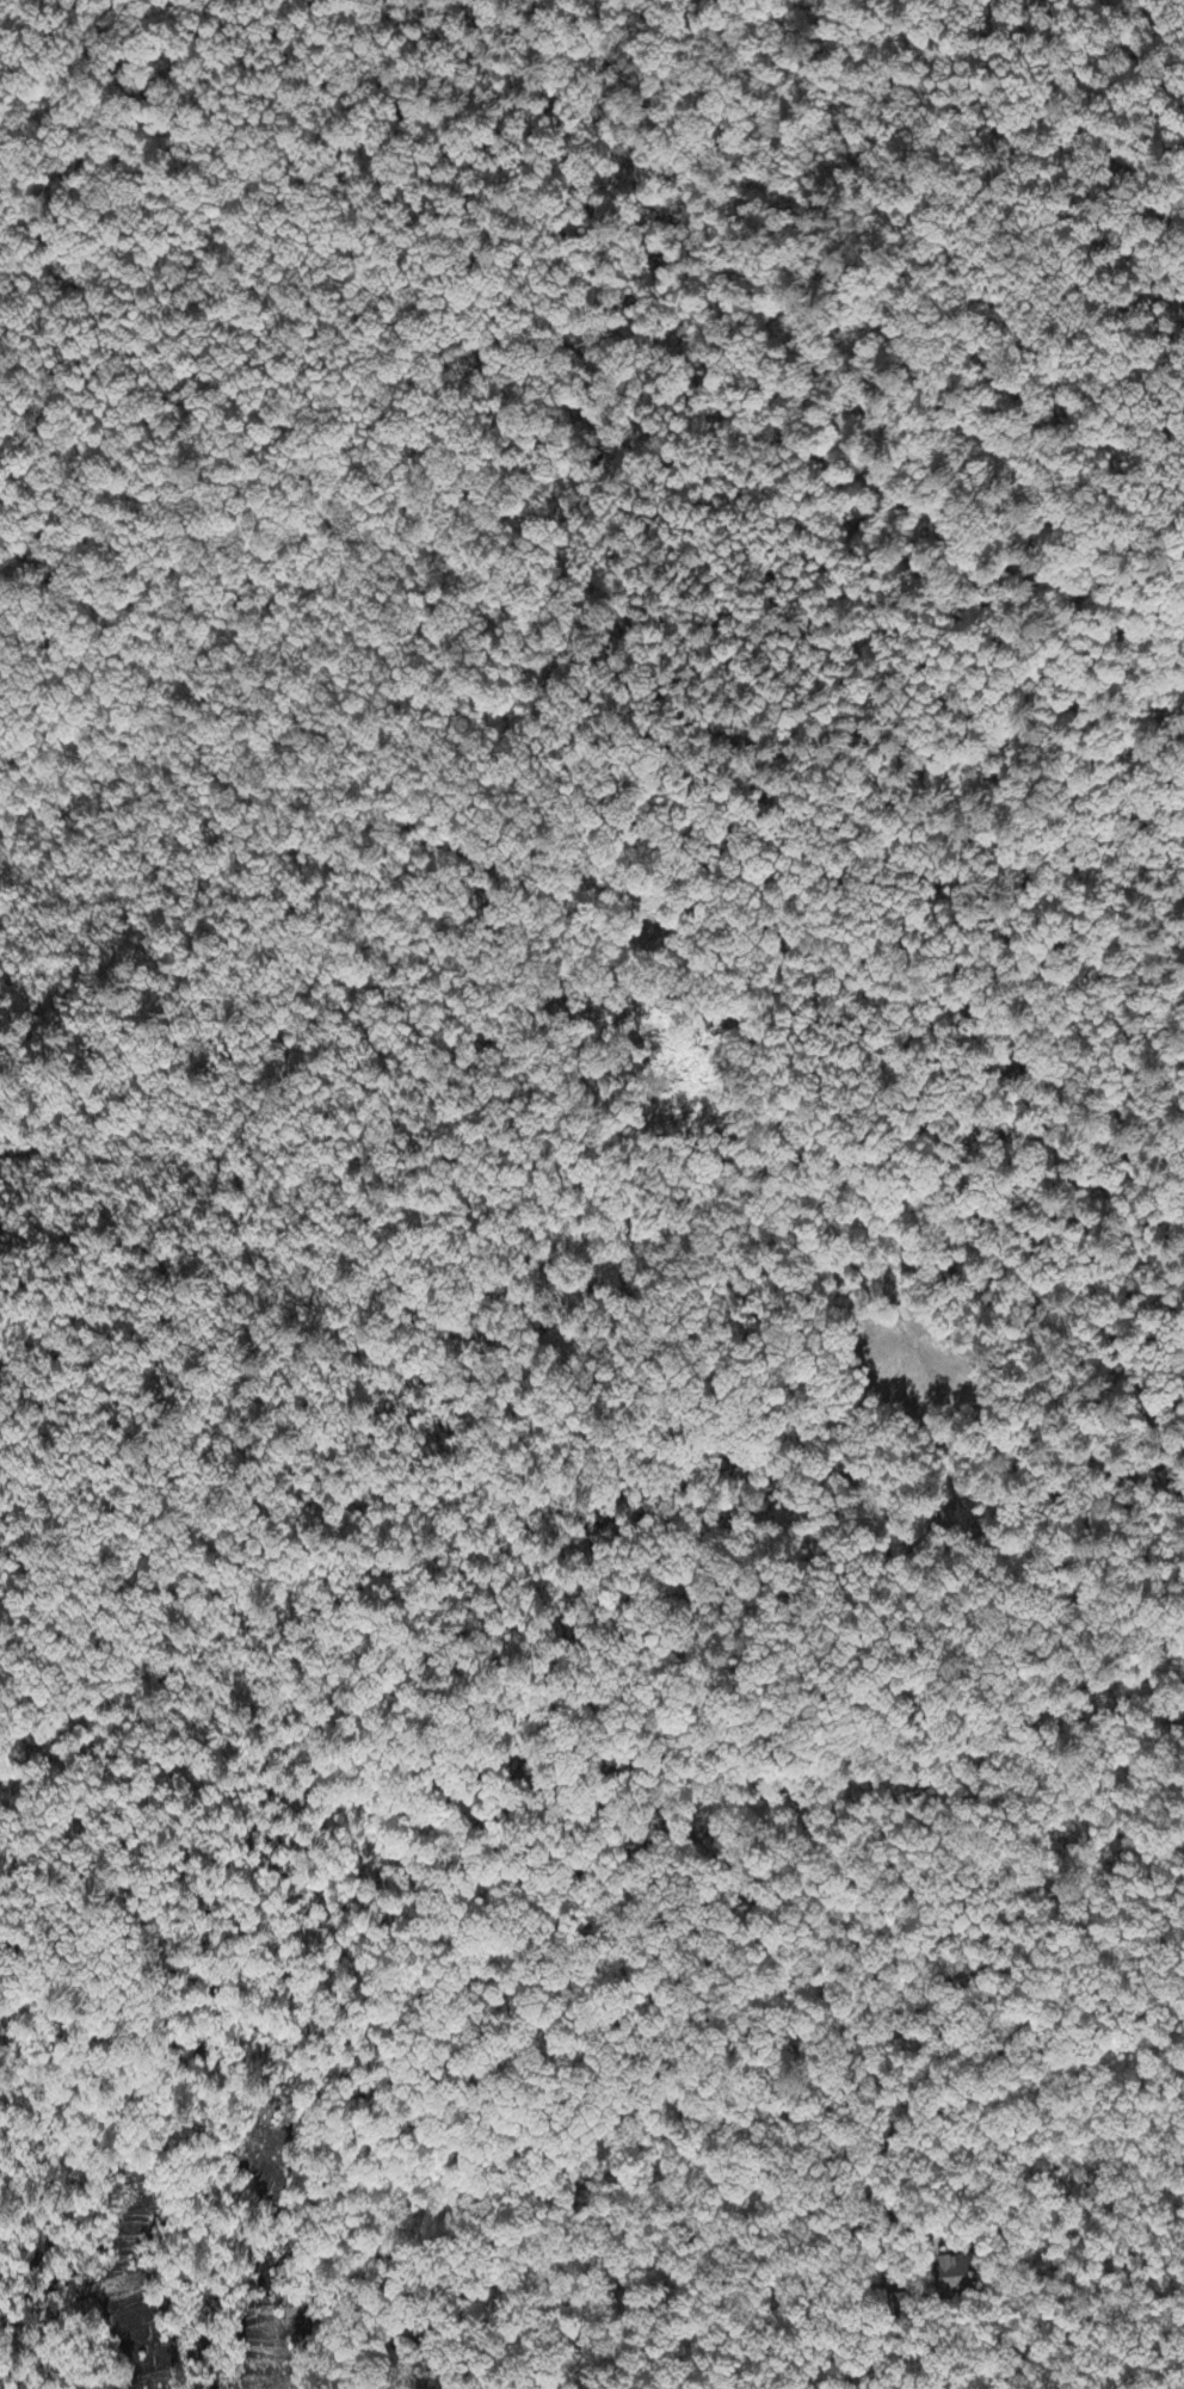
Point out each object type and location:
building: (906, 1313)
park: (403, 1389)
building: (960, 2274)

